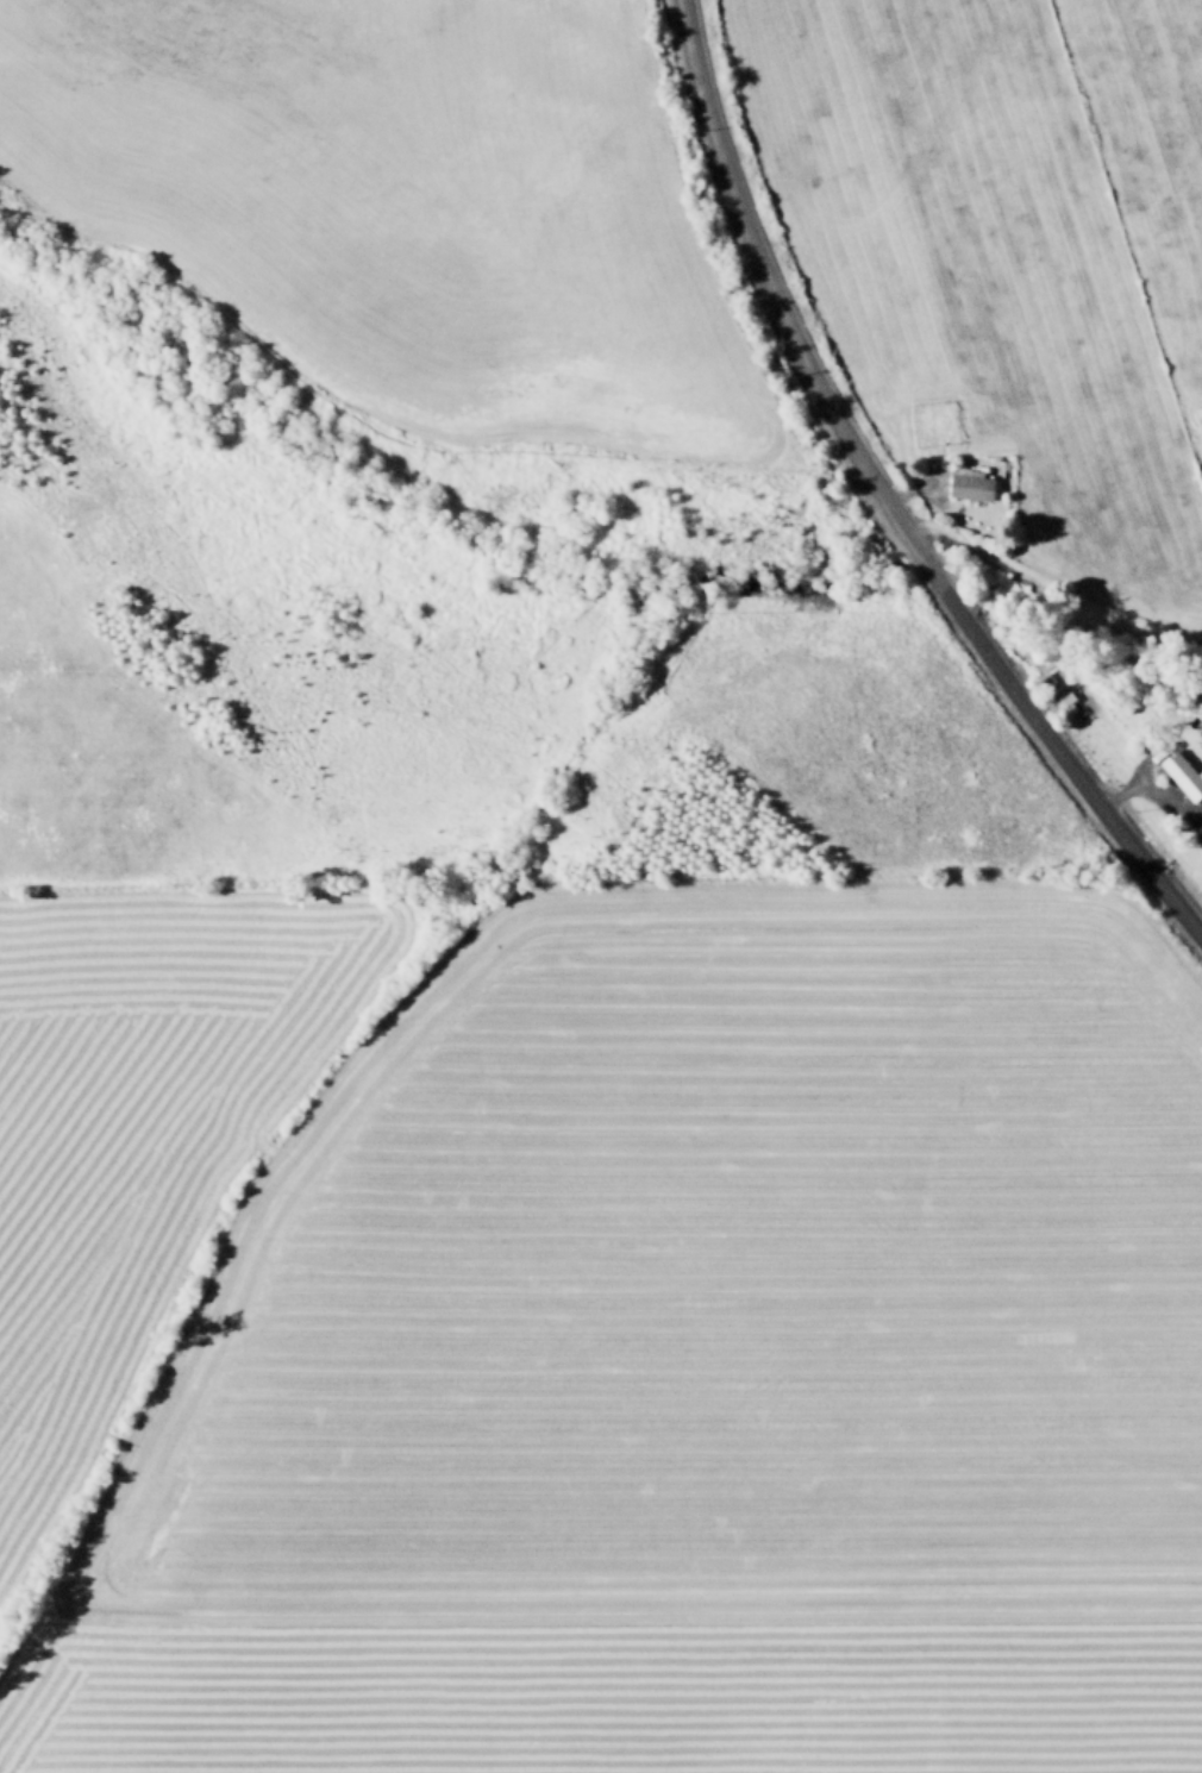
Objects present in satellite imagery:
building: (968, 482)
road: (882, 500)
building: (1068, 703)
building: (1181, 771)
crop: (586, 891)

